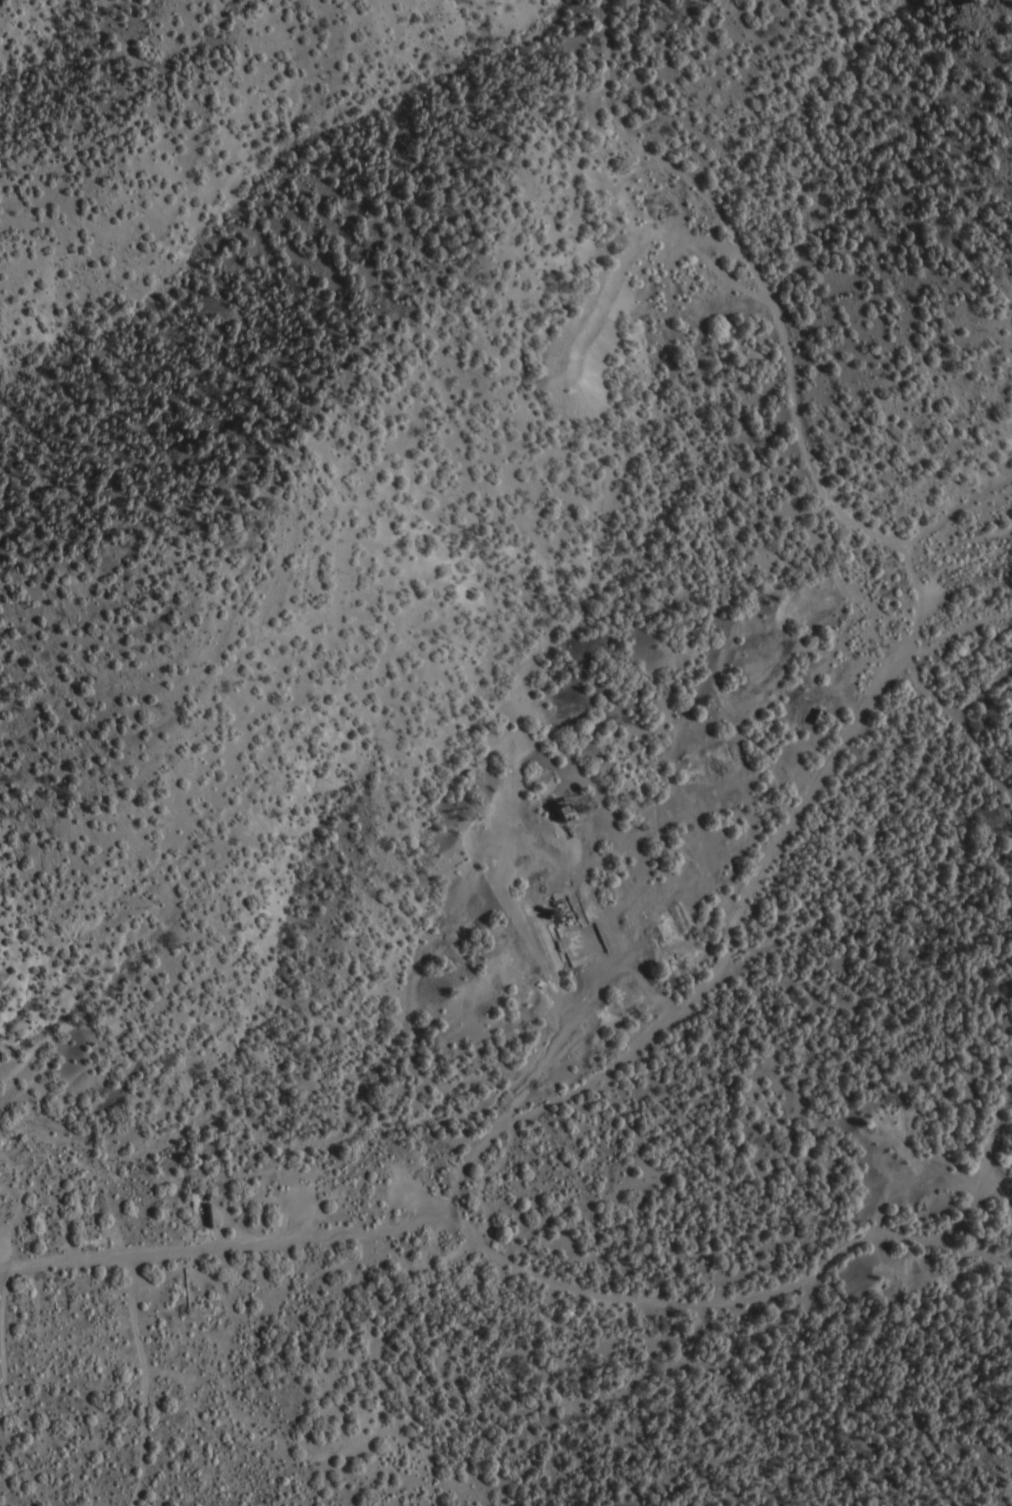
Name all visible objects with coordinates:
road: (757, 272)
mineshaft: (582, 274)
mineshaft: (944, 524)
mineshaft: (633, 587)
road: (924, 645)
road: (965, 719)
mineshaft: (582, 774)
mineshaft: (582, 837)
mineshaft: (582, 899)
road: (691, 1012)
mineshaft: (219, 1087)
mineshaft: (996, 1149)
road: (978, 1191)
road: (247, 1245)
road: (753, 1314)
mineshaft: (101, 1364)
road: (142, 1381)

